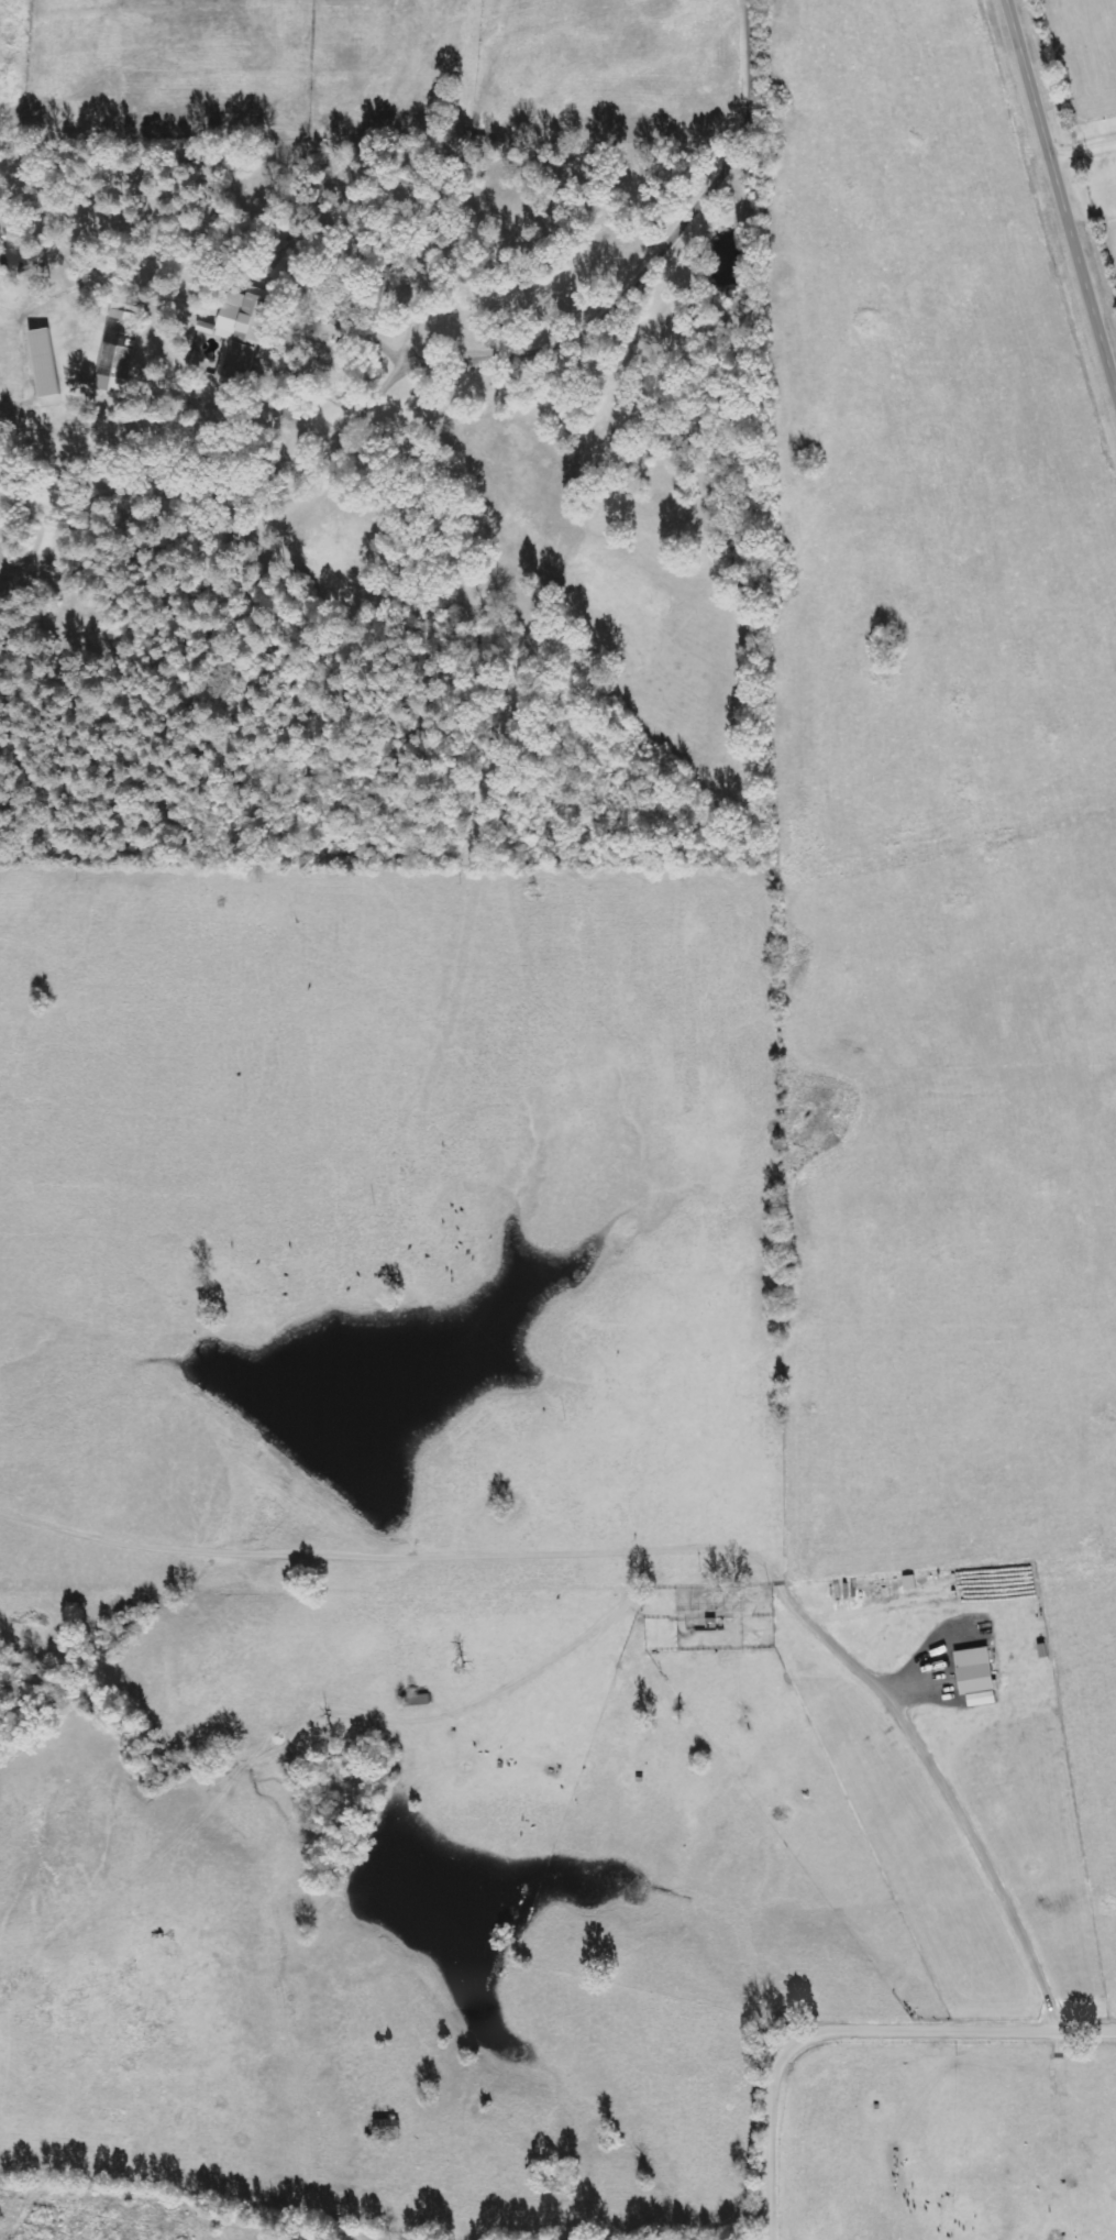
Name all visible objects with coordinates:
road: (1061, 186)
building: (339, 327)
building: (240, 334)
building: (119, 348)
building: (344, 348)
building: (43, 365)
building: (974, 1671)
road: (855, 2035)

